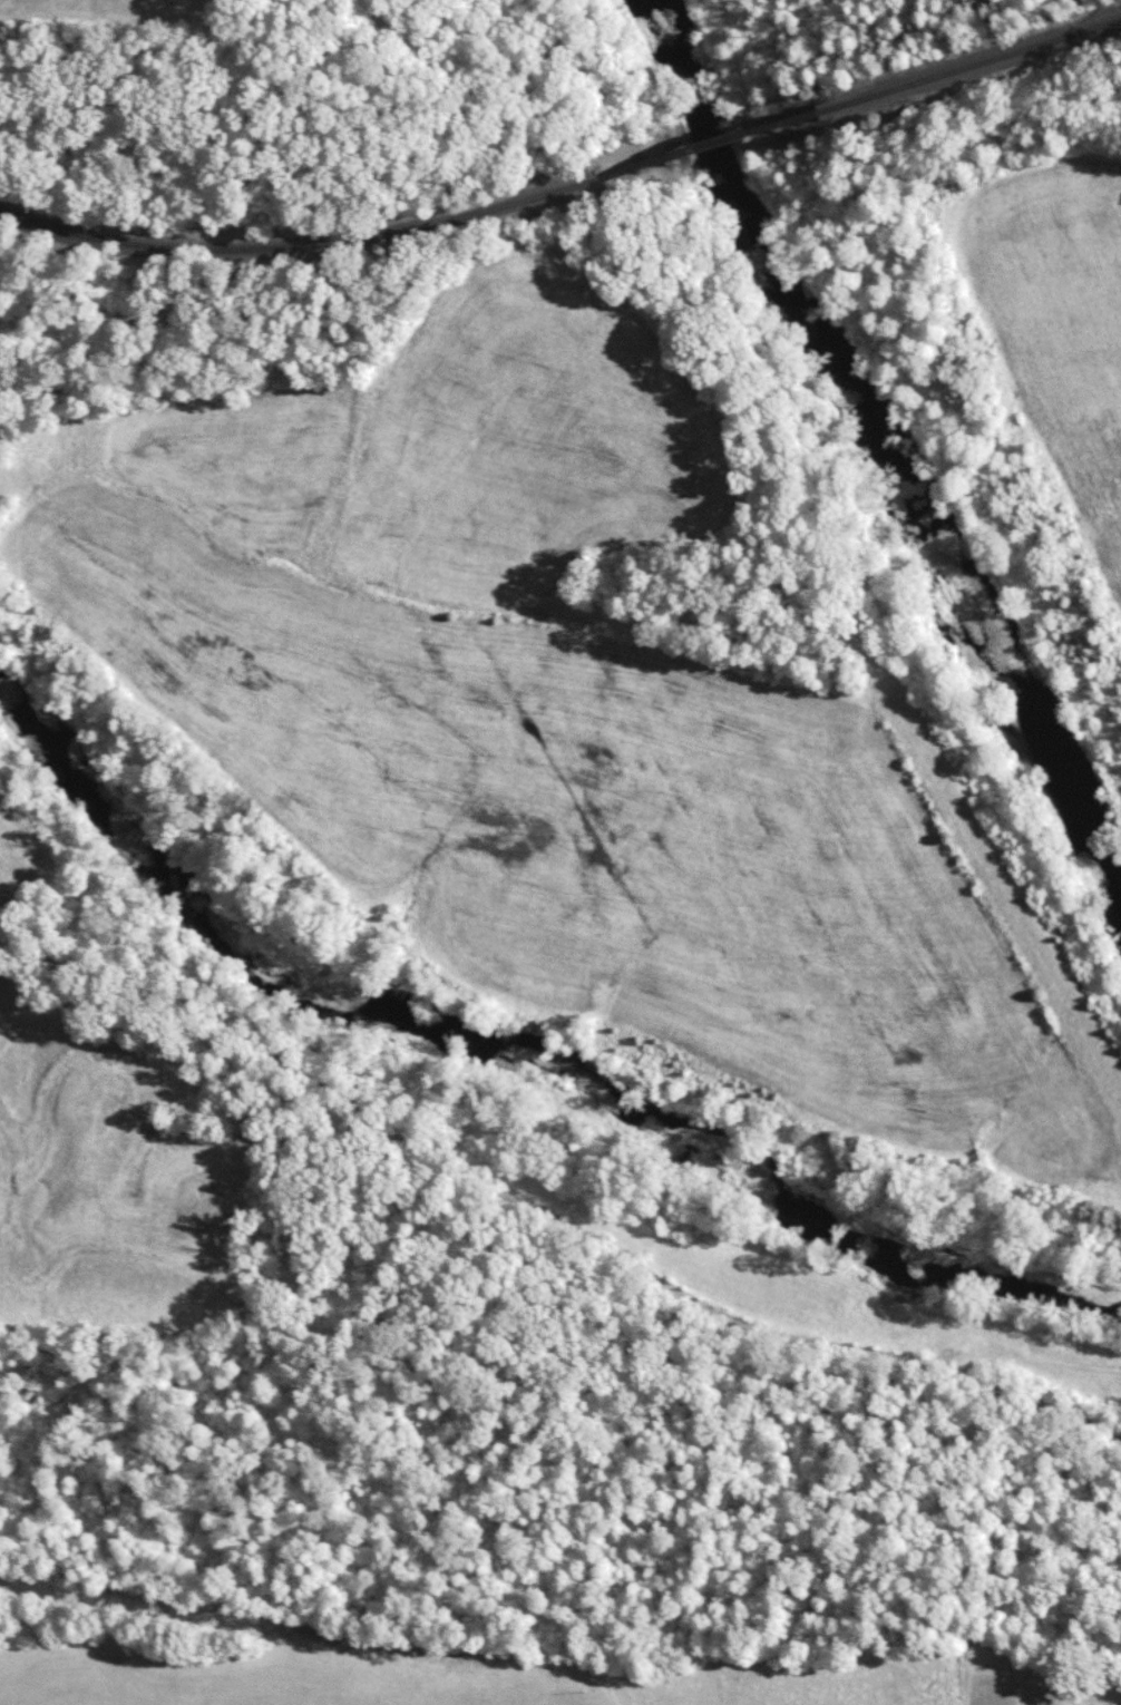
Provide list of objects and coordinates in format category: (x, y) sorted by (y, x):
railway: (963, 69)
railway: (718, 145)
railway: (316, 241)
river: (861, 459)
river: (506, 1093)
road: (549, 1216)

